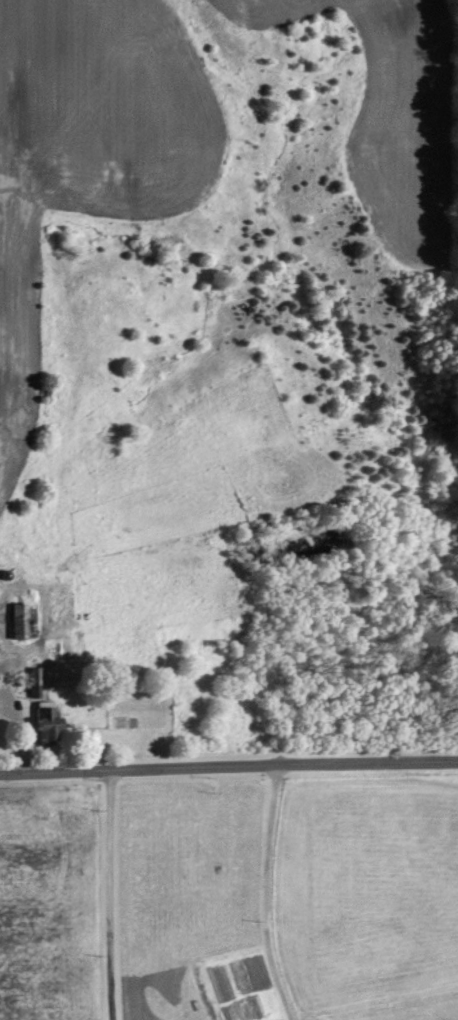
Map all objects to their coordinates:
building: (16, 620)
building: (58, 649)
building: (32, 675)
building: (42, 719)
road: (228, 767)
road: (263, 894)
road: (107, 895)

